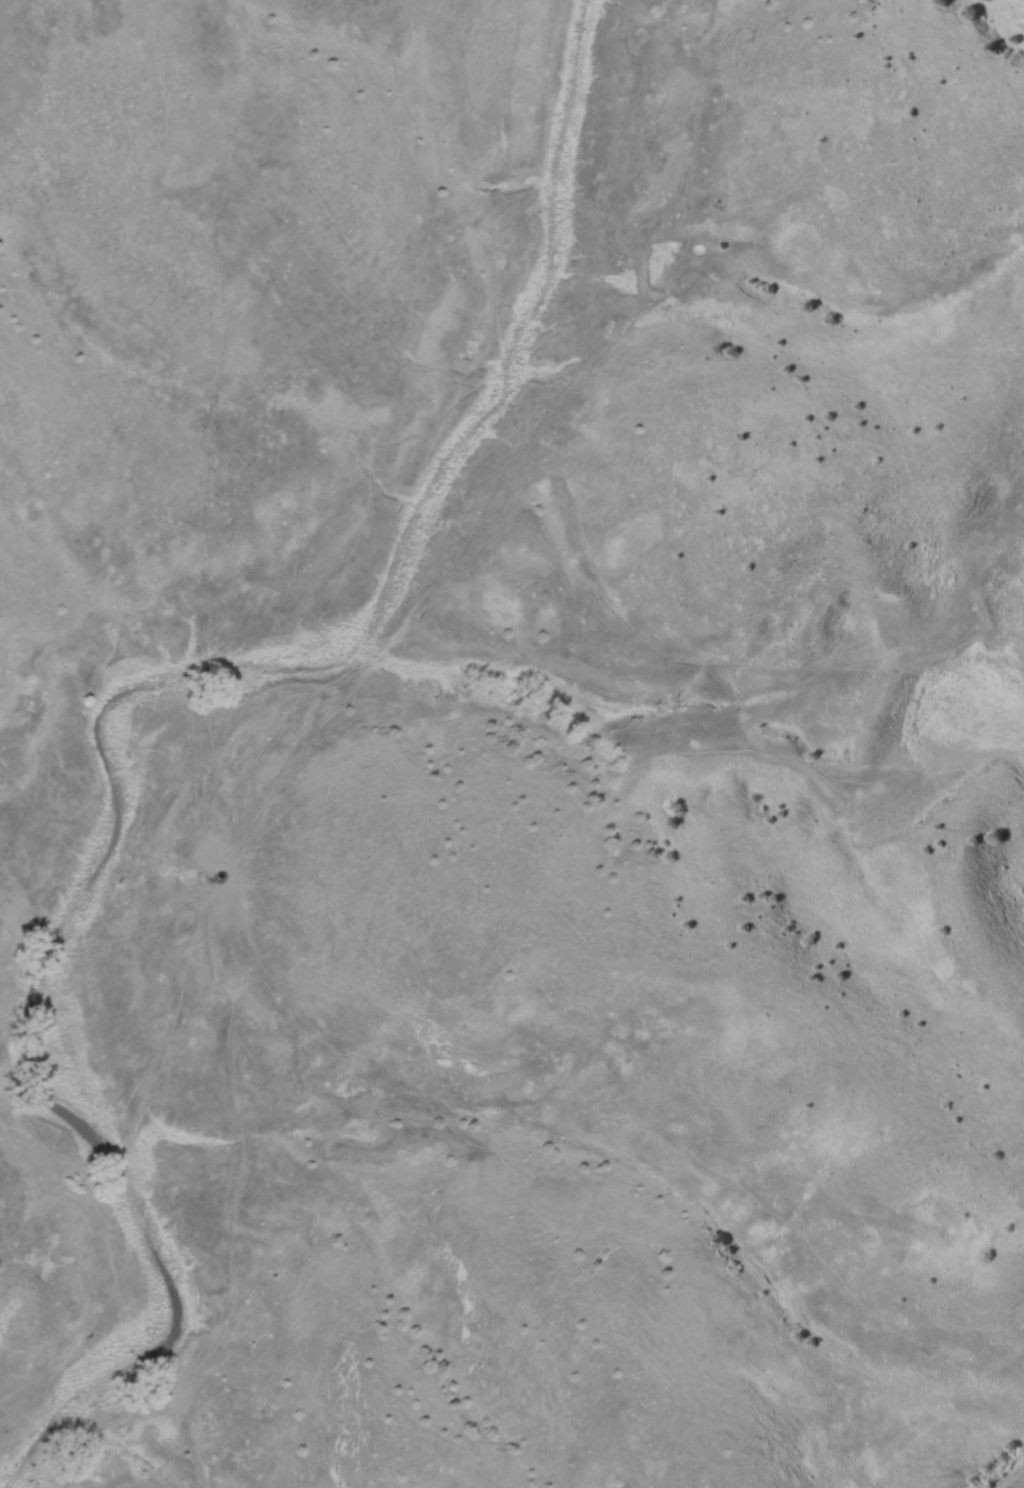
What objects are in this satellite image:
railway: (1022, 1486)

